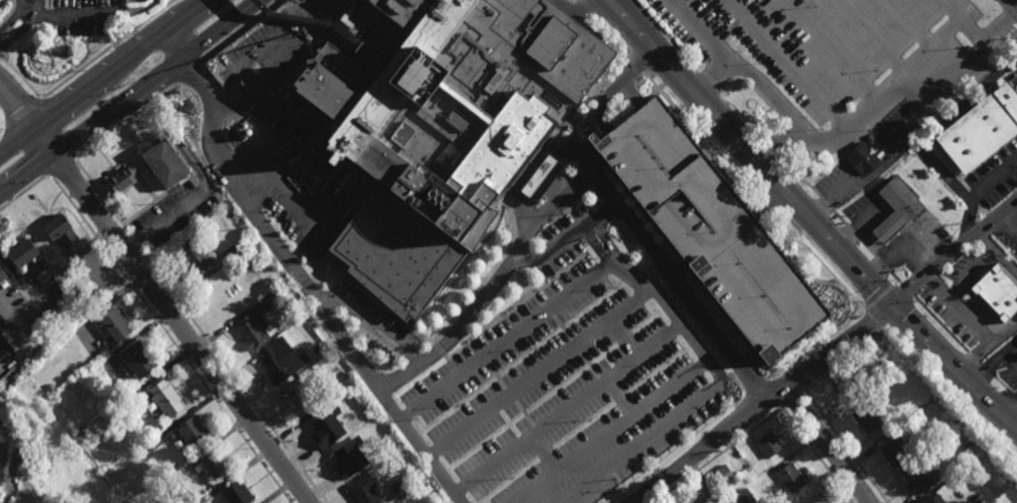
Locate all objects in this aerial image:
road: (1015, 1)
building: (290, 7)
road: (586, 9)
road: (571, 10)
road: (68, 15)
road: (15, 18)
parking lot: (88, 18)
road: (289, 18)
road: (310, 20)
road: (24, 29)
road: (240, 30)
road: (666, 37)
road: (612, 38)
road: (177, 42)
road: (107, 49)
building: (362, 51)
road: (253, 59)
road: (121, 63)
road: (274, 67)
road: (639, 68)
road: (190, 72)
road: (628, 76)
road: (21, 77)
road: (707, 86)
road: (128, 97)
road: (234, 104)
road: (18, 105)
road: (602, 105)
building: (186, 106)
road: (22, 111)
road: (281, 112)
road: (742, 117)
road: (128, 119)
road: (913, 121)
road: (62, 122)
building: (244, 125)
building: (442, 127)
road: (2, 128)
building: (980, 130)
building: (247, 132)
building: (236, 133)
road: (704, 137)
building: (241, 138)
road: (17, 140)
road: (771, 149)
road: (20, 158)
building: (861, 159)
road: (577, 160)
building: (831, 161)
building: (164, 165)
road: (593, 165)
road: (62, 166)
road: (250, 167)
road: (536, 177)
building: (537, 177)
road: (796, 179)
building: (123, 180)
road: (585, 189)
road: (23, 194)
road: (976, 194)
road: (101, 196)
road: (290, 197)
road: (767, 201)
road: (765, 204)
road: (825, 205)
building: (897, 208)
gas station: (895, 211)
road: (809, 216)
road: (839, 219)
road: (526, 221)
road: (1009, 223)
building: (709, 230)
parking lot: (709, 230)
building: (61, 232)
road: (852, 233)
road: (565, 243)
road: (986, 243)
road: (136, 245)
road: (867, 247)
building: (233, 251)
road: (954, 253)
building: (24, 255)
building: (194, 258)
road: (817, 259)
road: (1005, 263)
road: (883, 264)
road: (678, 274)
building: (3, 275)
road: (971, 275)
road: (895, 277)
road: (22, 281)
road: (895, 283)
road: (305, 287)
road: (938, 287)
road: (905, 289)
building: (998, 292)
road: (649, 294)
road: (878, 297)
building: (269, 298)
building: (299, 298)
traffic signals: (893, 306)
road: (170, 315)
road: (900, 316)
road: (970, 321)
road: (876, 322)
road: (6, 324)
road: (940, 324)
building: (116, 325)
road: (371, 325)
building: (251, 329)
road: (1003, 336)
road: (170, 338)
road: (508, 340)
road: (819, 346)
building: (320, 347)
building: (139, 357)
building: (883, 357)
road: (959, 357)
building: (279, 358)
road: (973, 359)
road: (994, 360)
road: (1009, 361)
road: (846, 362)
road: (1, 367)
parking lot: (569, 373)
road: (539, 375)
road: (234, 378)
road: (797, 379)
road: (606, 382)
road: (763, 386)
building: (51, 387)
building: (845, 388)
road: (775, 394)
building: (165, 396)
building: (295, 397)
road: (793, 398)
building: (324, 400)
road: (948, 400)
road: (762, 405)
road: (1012, 415)
building: (866, 418)
building: (359, 420)
building: (319, 427)
building: (190, 429)
road: (612, 433)
road: (659, 436)
building: (153, 441)
building: (768, 444)
road: (829, 445)
building: (968, 445)
road: (846, 446)
building: (377, 448)
power substation: (3, 449)
building: (895, 450)
road: (546, 453)
road: (716, 455)
road: (816, 455)
building: (342, 462)
building: (213, 463)
road: (495, 464)
building: (175, 471)
building: (724, 474)
building: (789, 476)
building: (918, 478)
building: (403, 482)
building: (782, 488)
building: (365, 489)
building: (235, 493)
building: (714, 495)
building: (745, 496)
building: (942, 498)
building: (812, 499)

